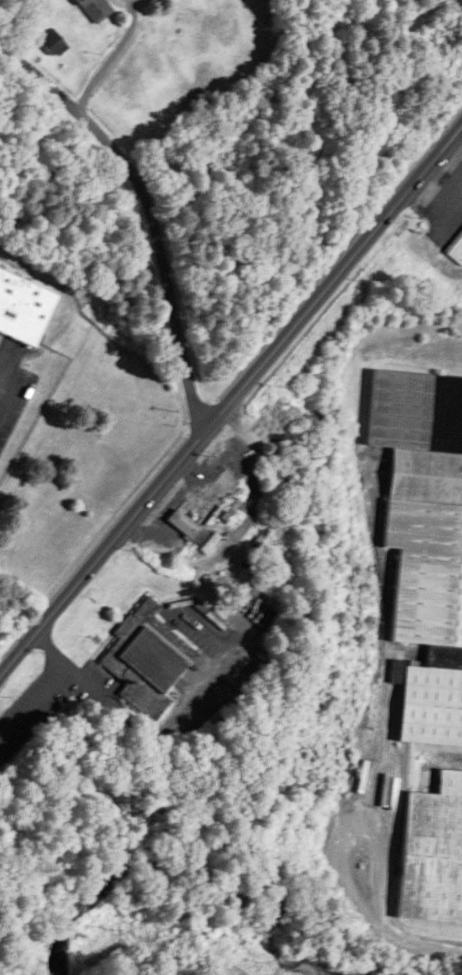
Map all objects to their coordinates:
building: (95, 9)
building: (53, 42)
road: (101, 50)
road: (452, 156)
road: (454, 184)
road: (433, 192)
road: (150, 207)
building: (456, 250)
building: (21, 306)
road: (231, 383)
road: (230, 399)
road: (222, 456)
building: (192, 515)
building: (424, 543)
building: (147, 659)
road: (31, 689)
road: (163, 725)
road: (357, 811)
building: (433, 853)
road: (402, 929)
park: (144, 934)

